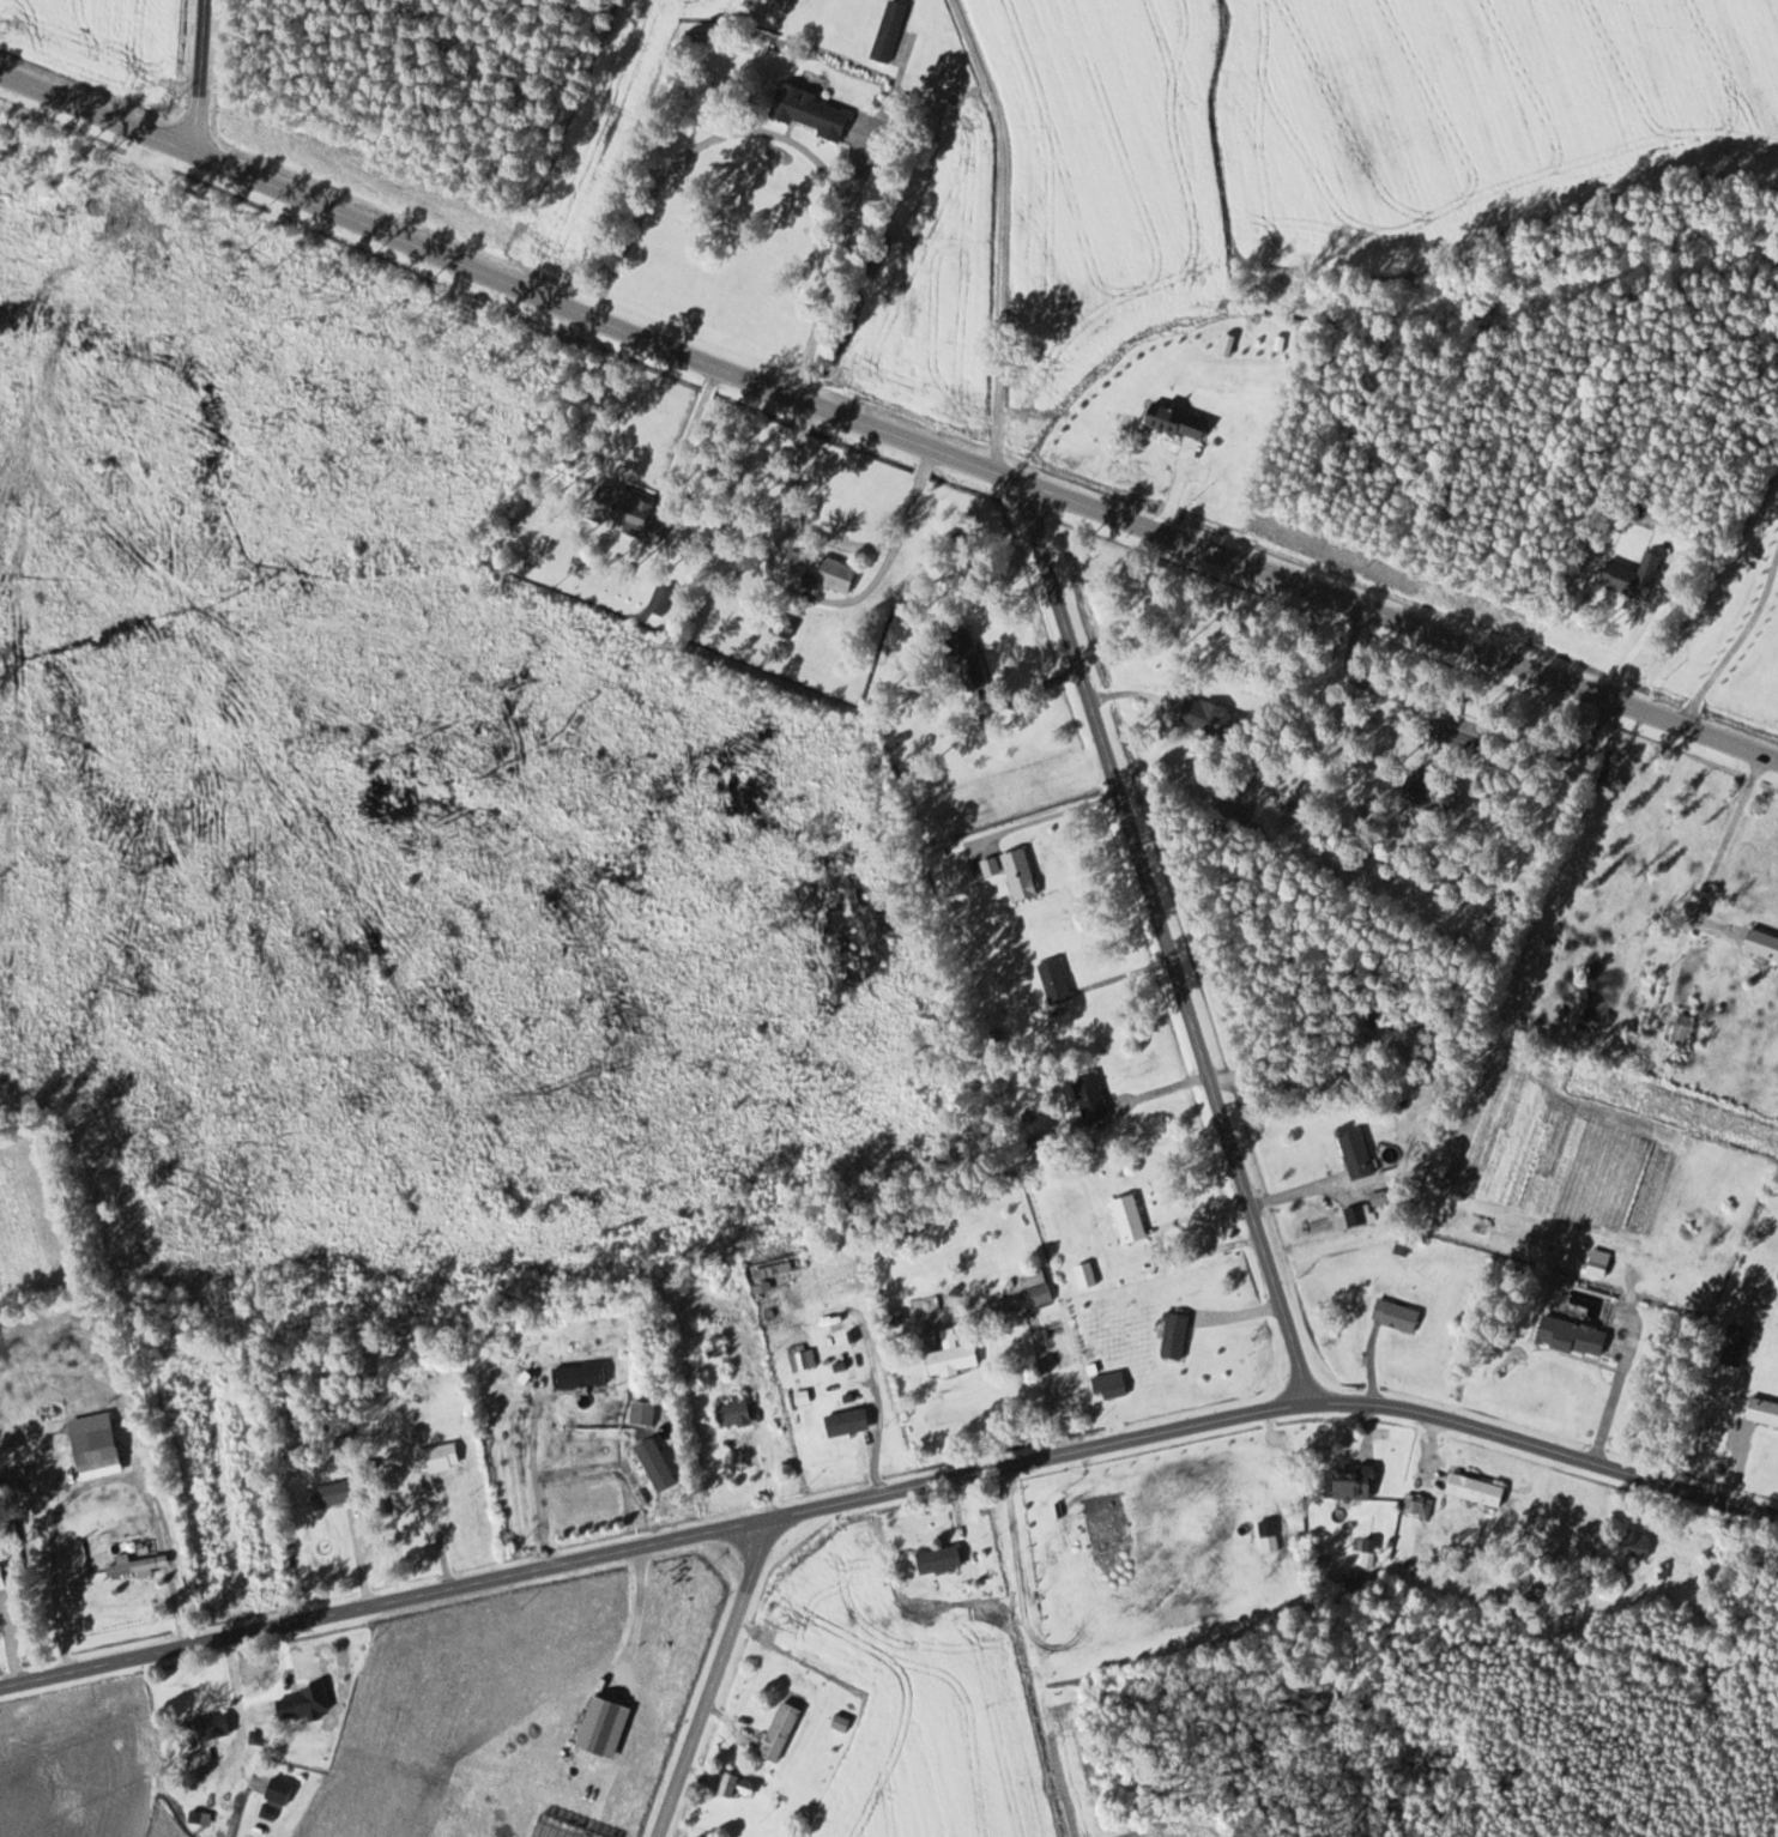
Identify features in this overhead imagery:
building: (888, 31)
road: (194, 74)
building: (808, 111)
building: (1174, 422)
road: (883, 429)
building: (622, 512)
building: (816, 569)
building: (1631, 575)
building: (964, 659)
building: (1208, 718)
building: (1425, 793)
building: (1228, 816)
building: (990, 866)
building: (1017, 875)
road: (1166, 941)
building: (1761, 943)
building: (1053, 981)
building: (1088, 1096)
building: (1355, 1154)
building: (1127, 1217)
building: (1084, 1274)
building: (1040, 1293)
building: (1395, 1313)
building: (825, 1323)
building: (1172, 1335)
building: (1571, 1335)
building: (1734, 1344)
building: (950, 1354)
building: (805, 1359)
building: (577, 1376)
building: (1108, 1384)
building: (1761, 1410)
building: (641, 1413)
building: (730, 1413)
building: (845, 1421)
building: (91, 1445)
building: (435, 1456)
building: (1351, 1482)
road: (890, 1488)
building: (1474, 1488)
building: (328, 1493)
building: (1417, 1504)
building: (128, 1542)
building: (1634, 1542)
building: (937, 1559)
building: (129, 1565)
building: (0, 1584)
road: (713, 1678)
building: (310, 1700)
building: (208, 1727)
building: (778, 1732)
building: (736, 1785)
building: (277, 1790)
building: (734, 1835)

